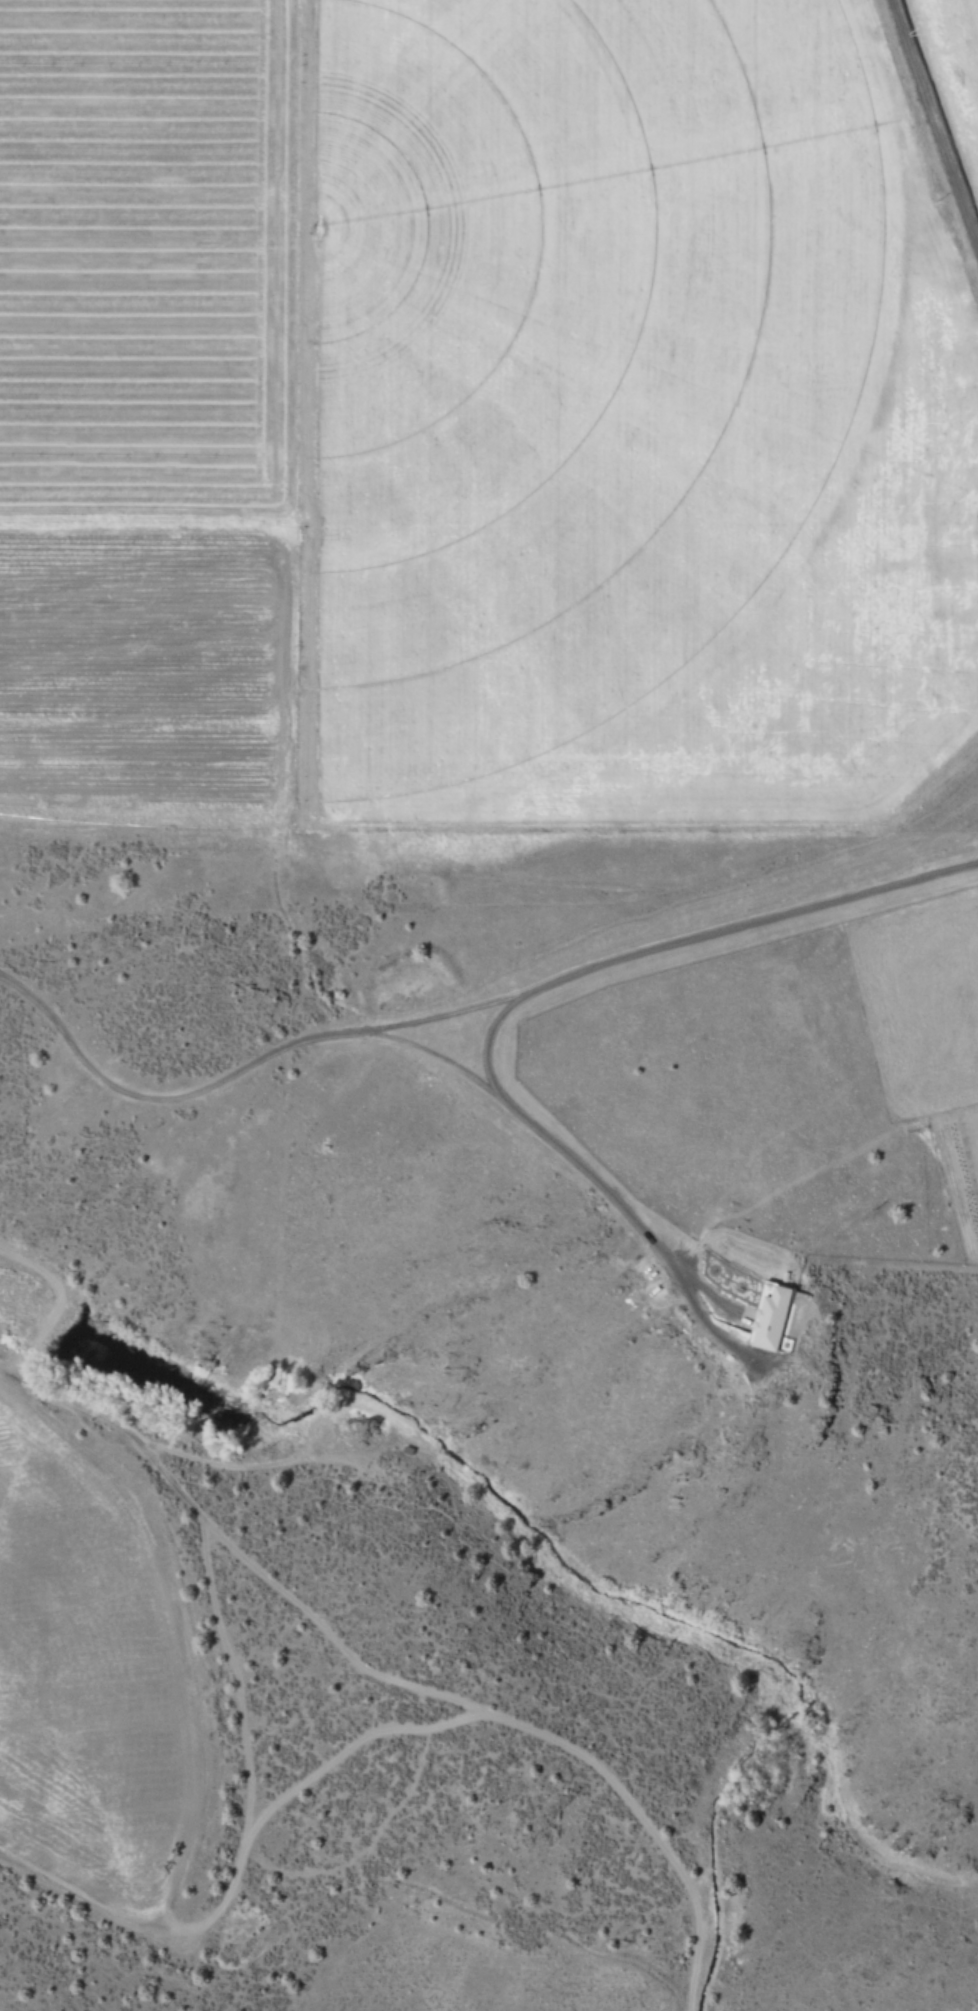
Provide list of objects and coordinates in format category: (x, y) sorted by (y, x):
road: (936, 120)
road: (542, 985)
building: (769, 1315)
road: (329, 1638)
crop: (475, 1991)

